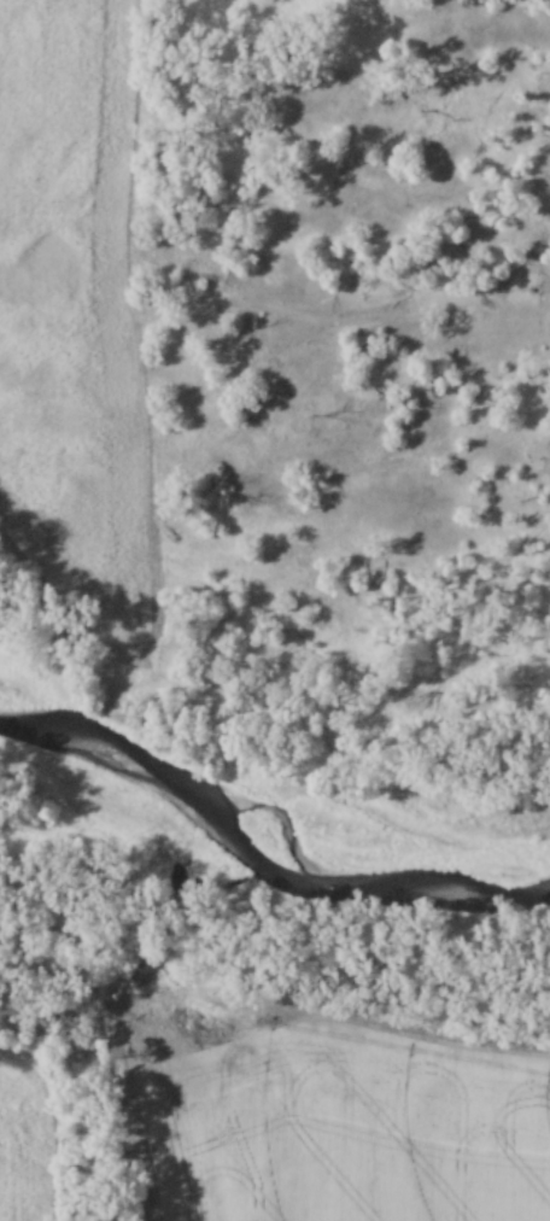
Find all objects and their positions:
river: (258, 859)

